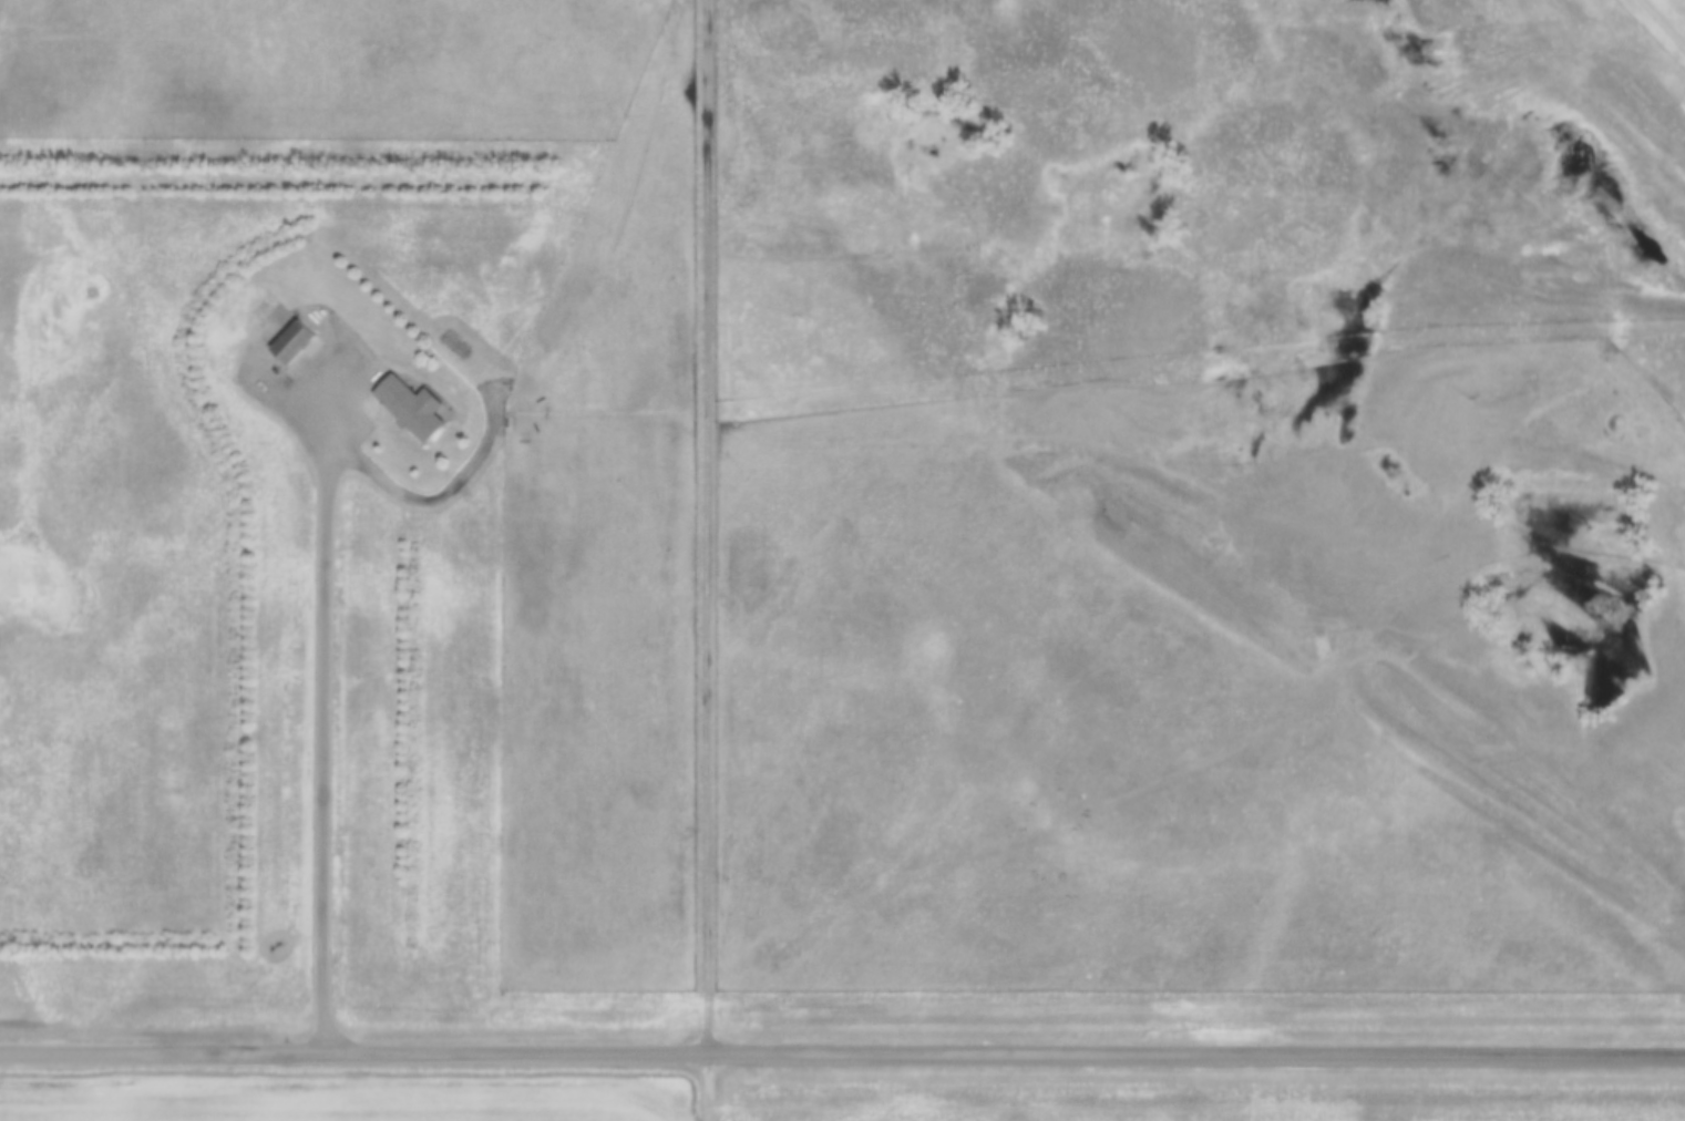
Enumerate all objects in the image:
building: (295, 339)
building: (413, 405)
road: (709, 560)
road: (329, 701)
road: (842, 1048)

